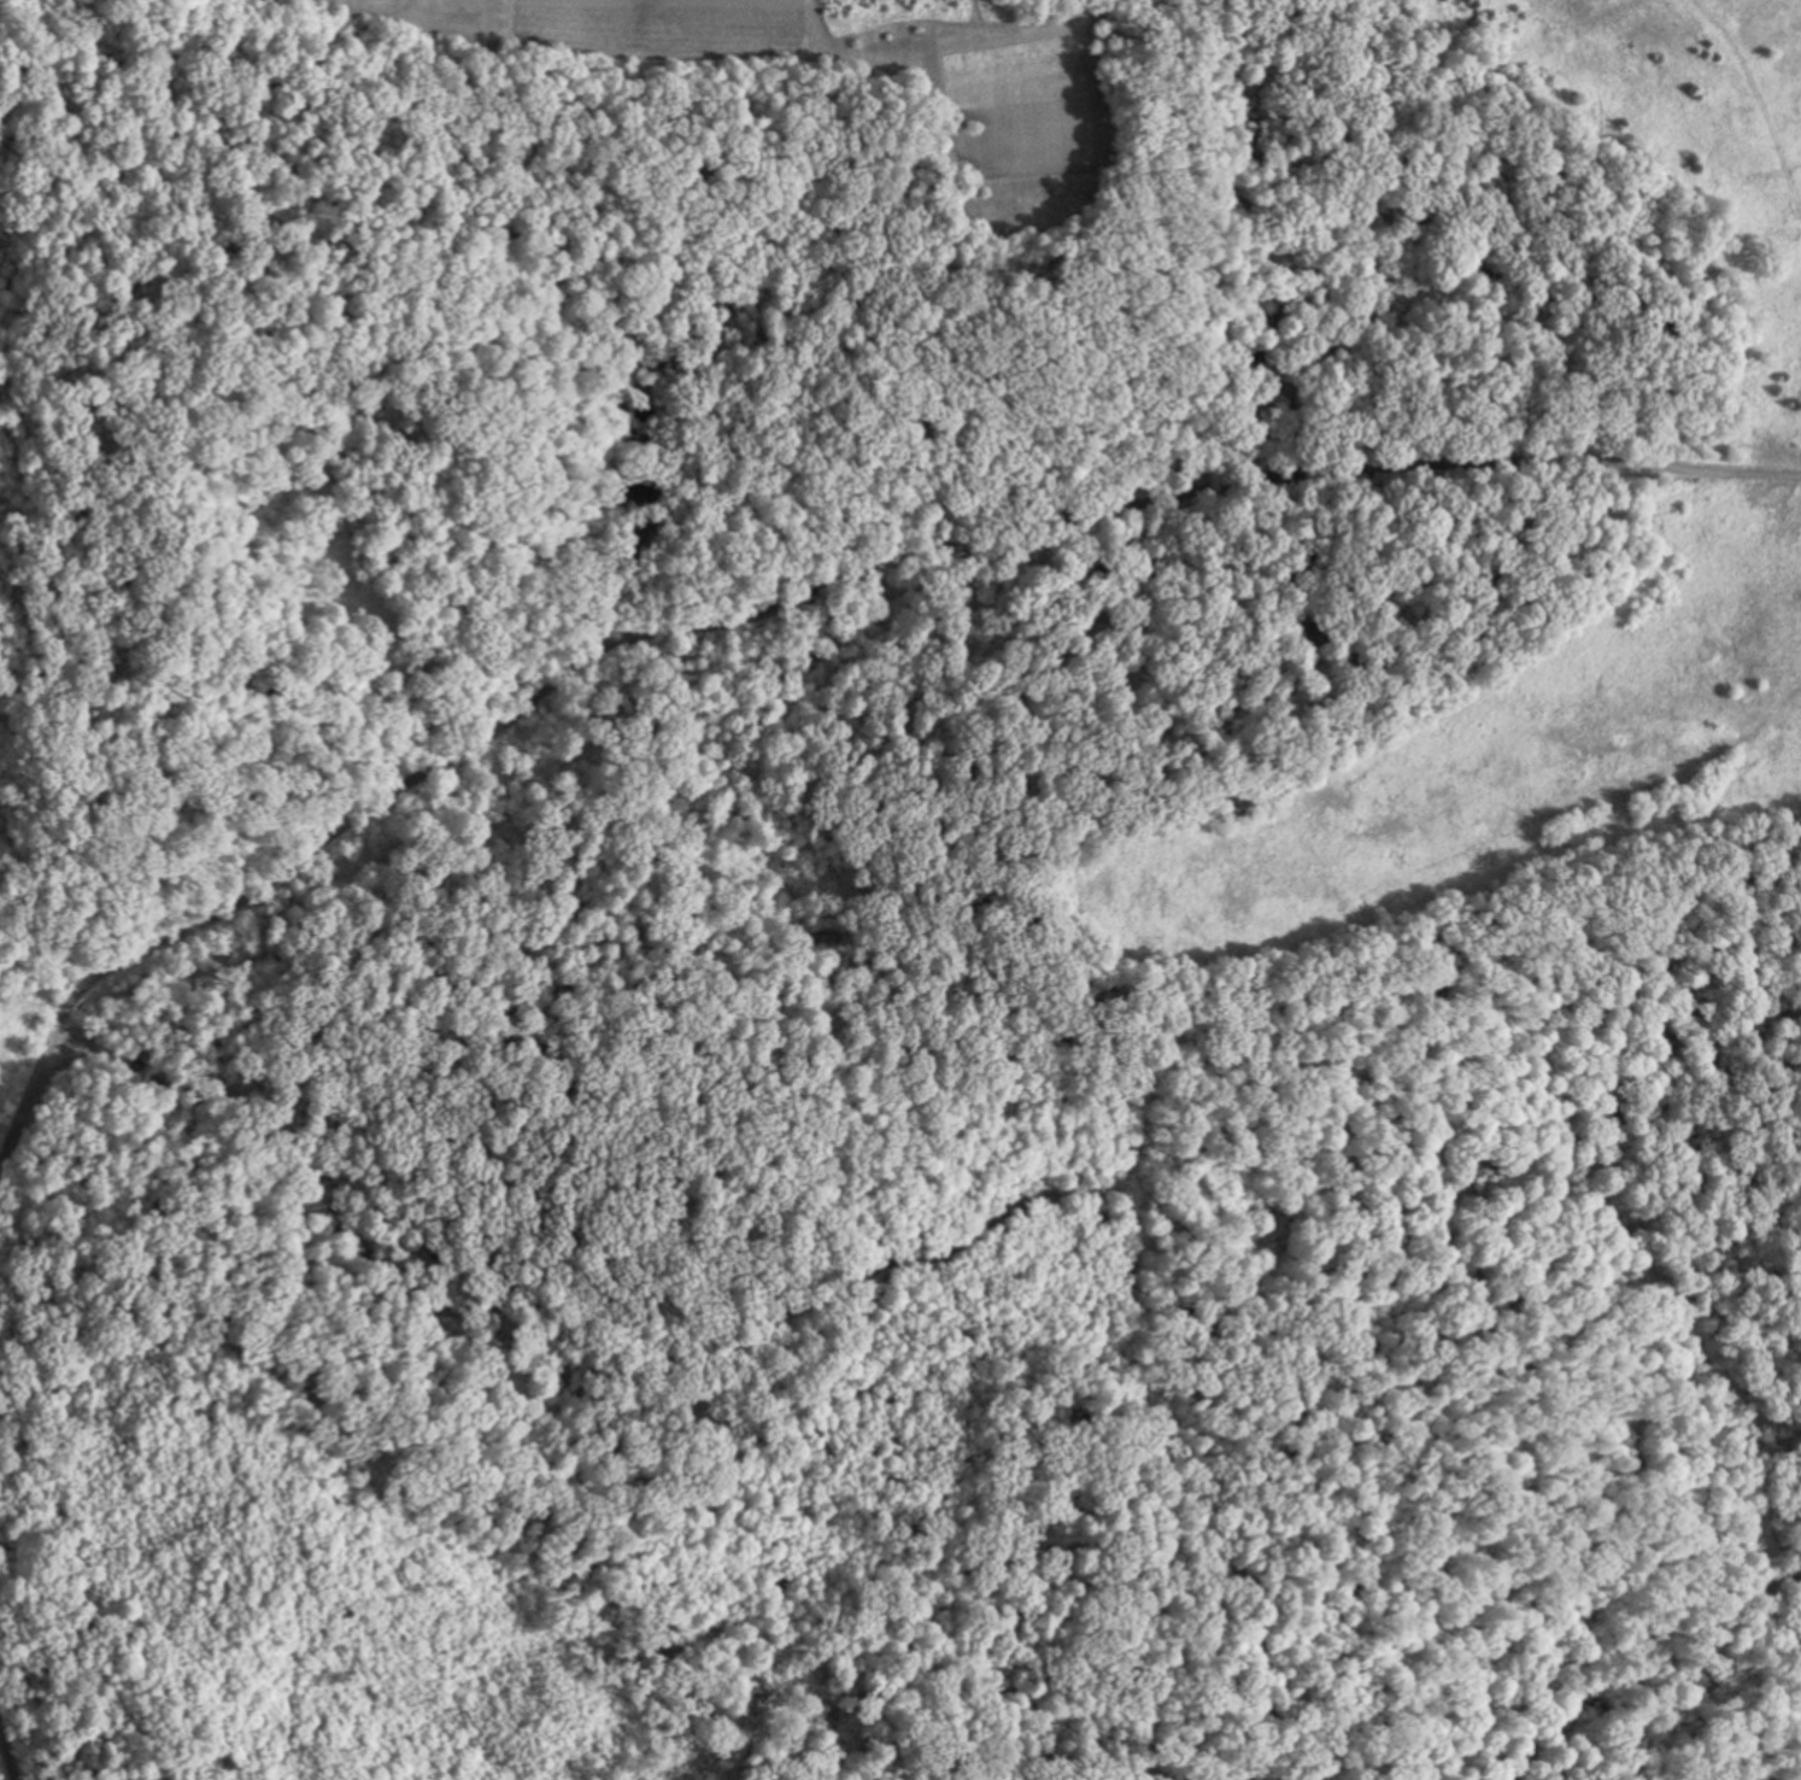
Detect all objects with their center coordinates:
road: (6, 1761)

